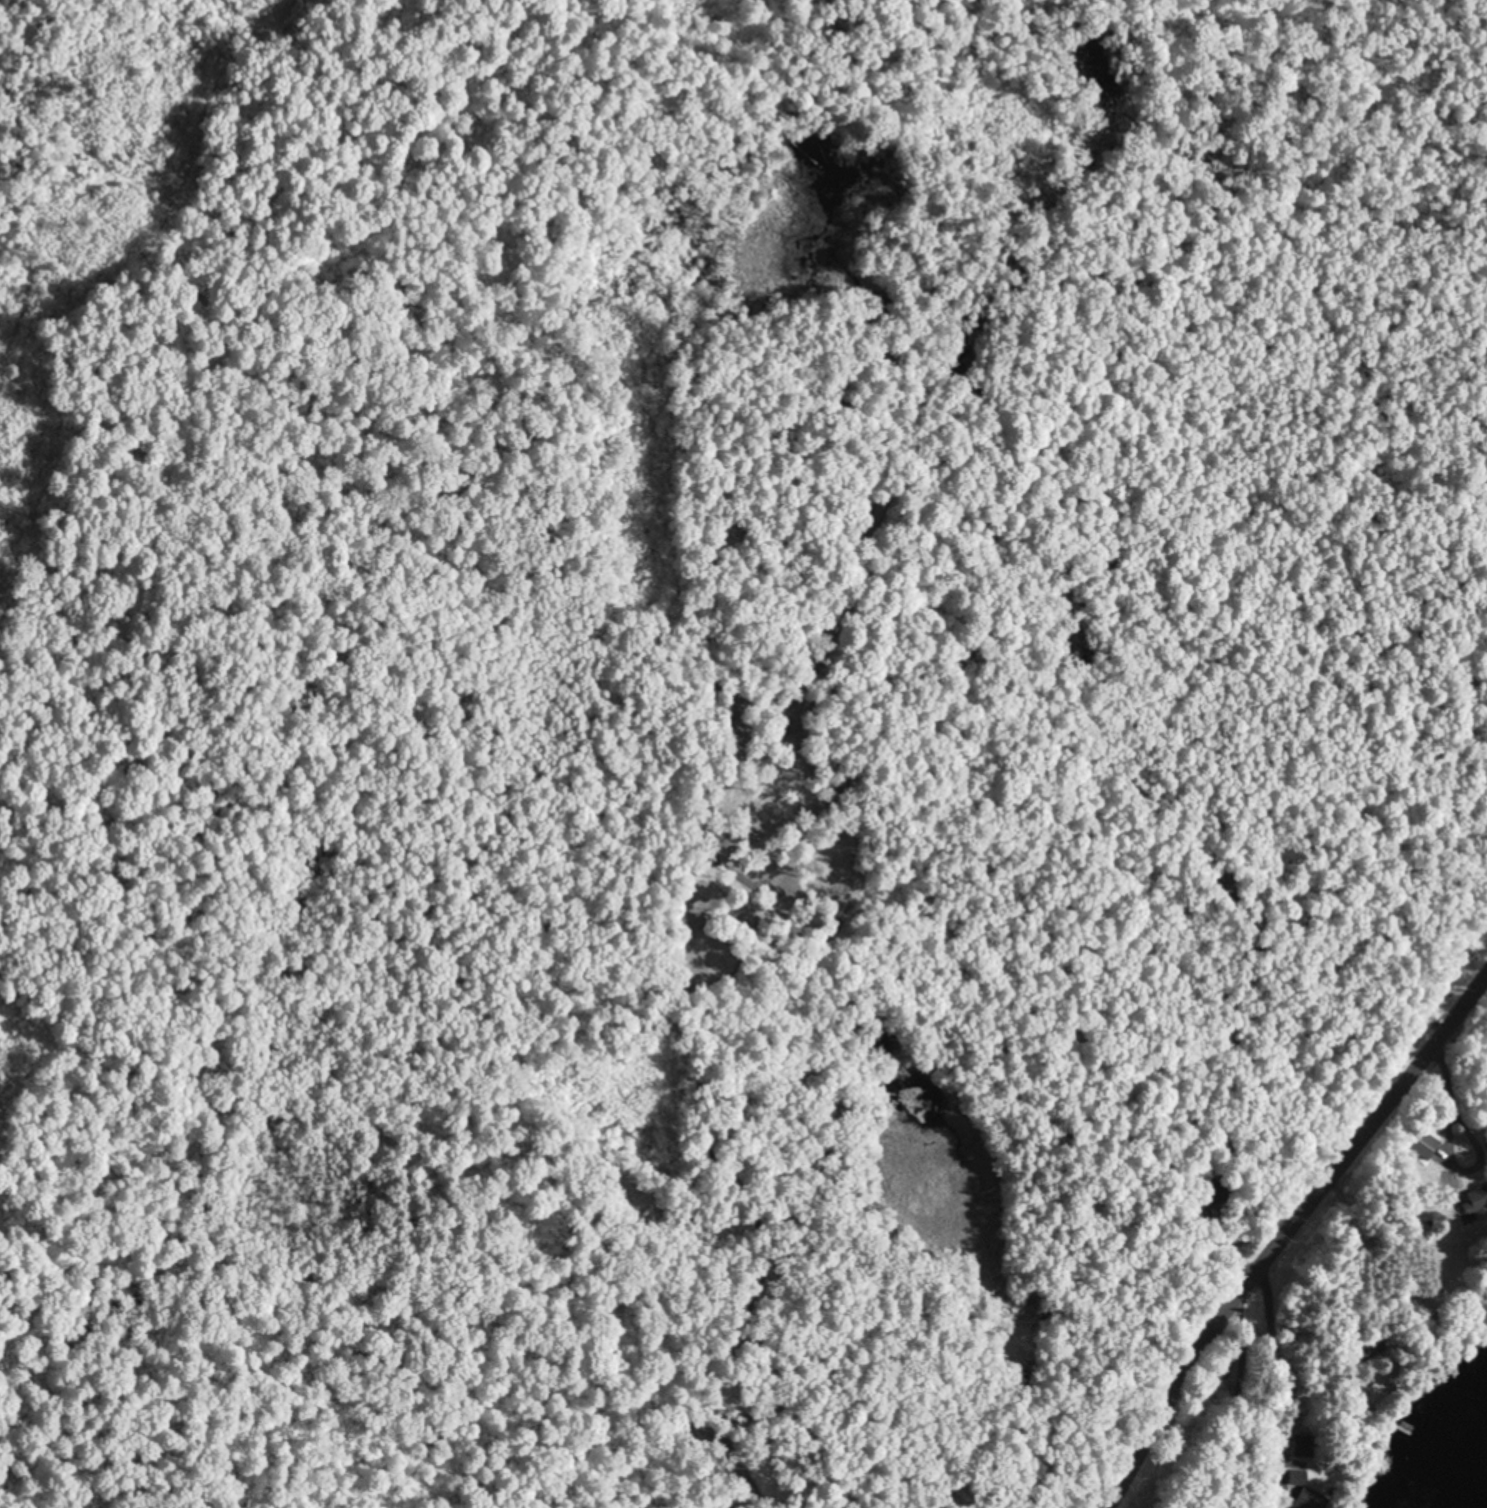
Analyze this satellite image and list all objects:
building: (1428, 1146)
building: (1477, 1201)
road: (1288, 1236)
building: (1306, 1448)
building: (1300, 1479)

